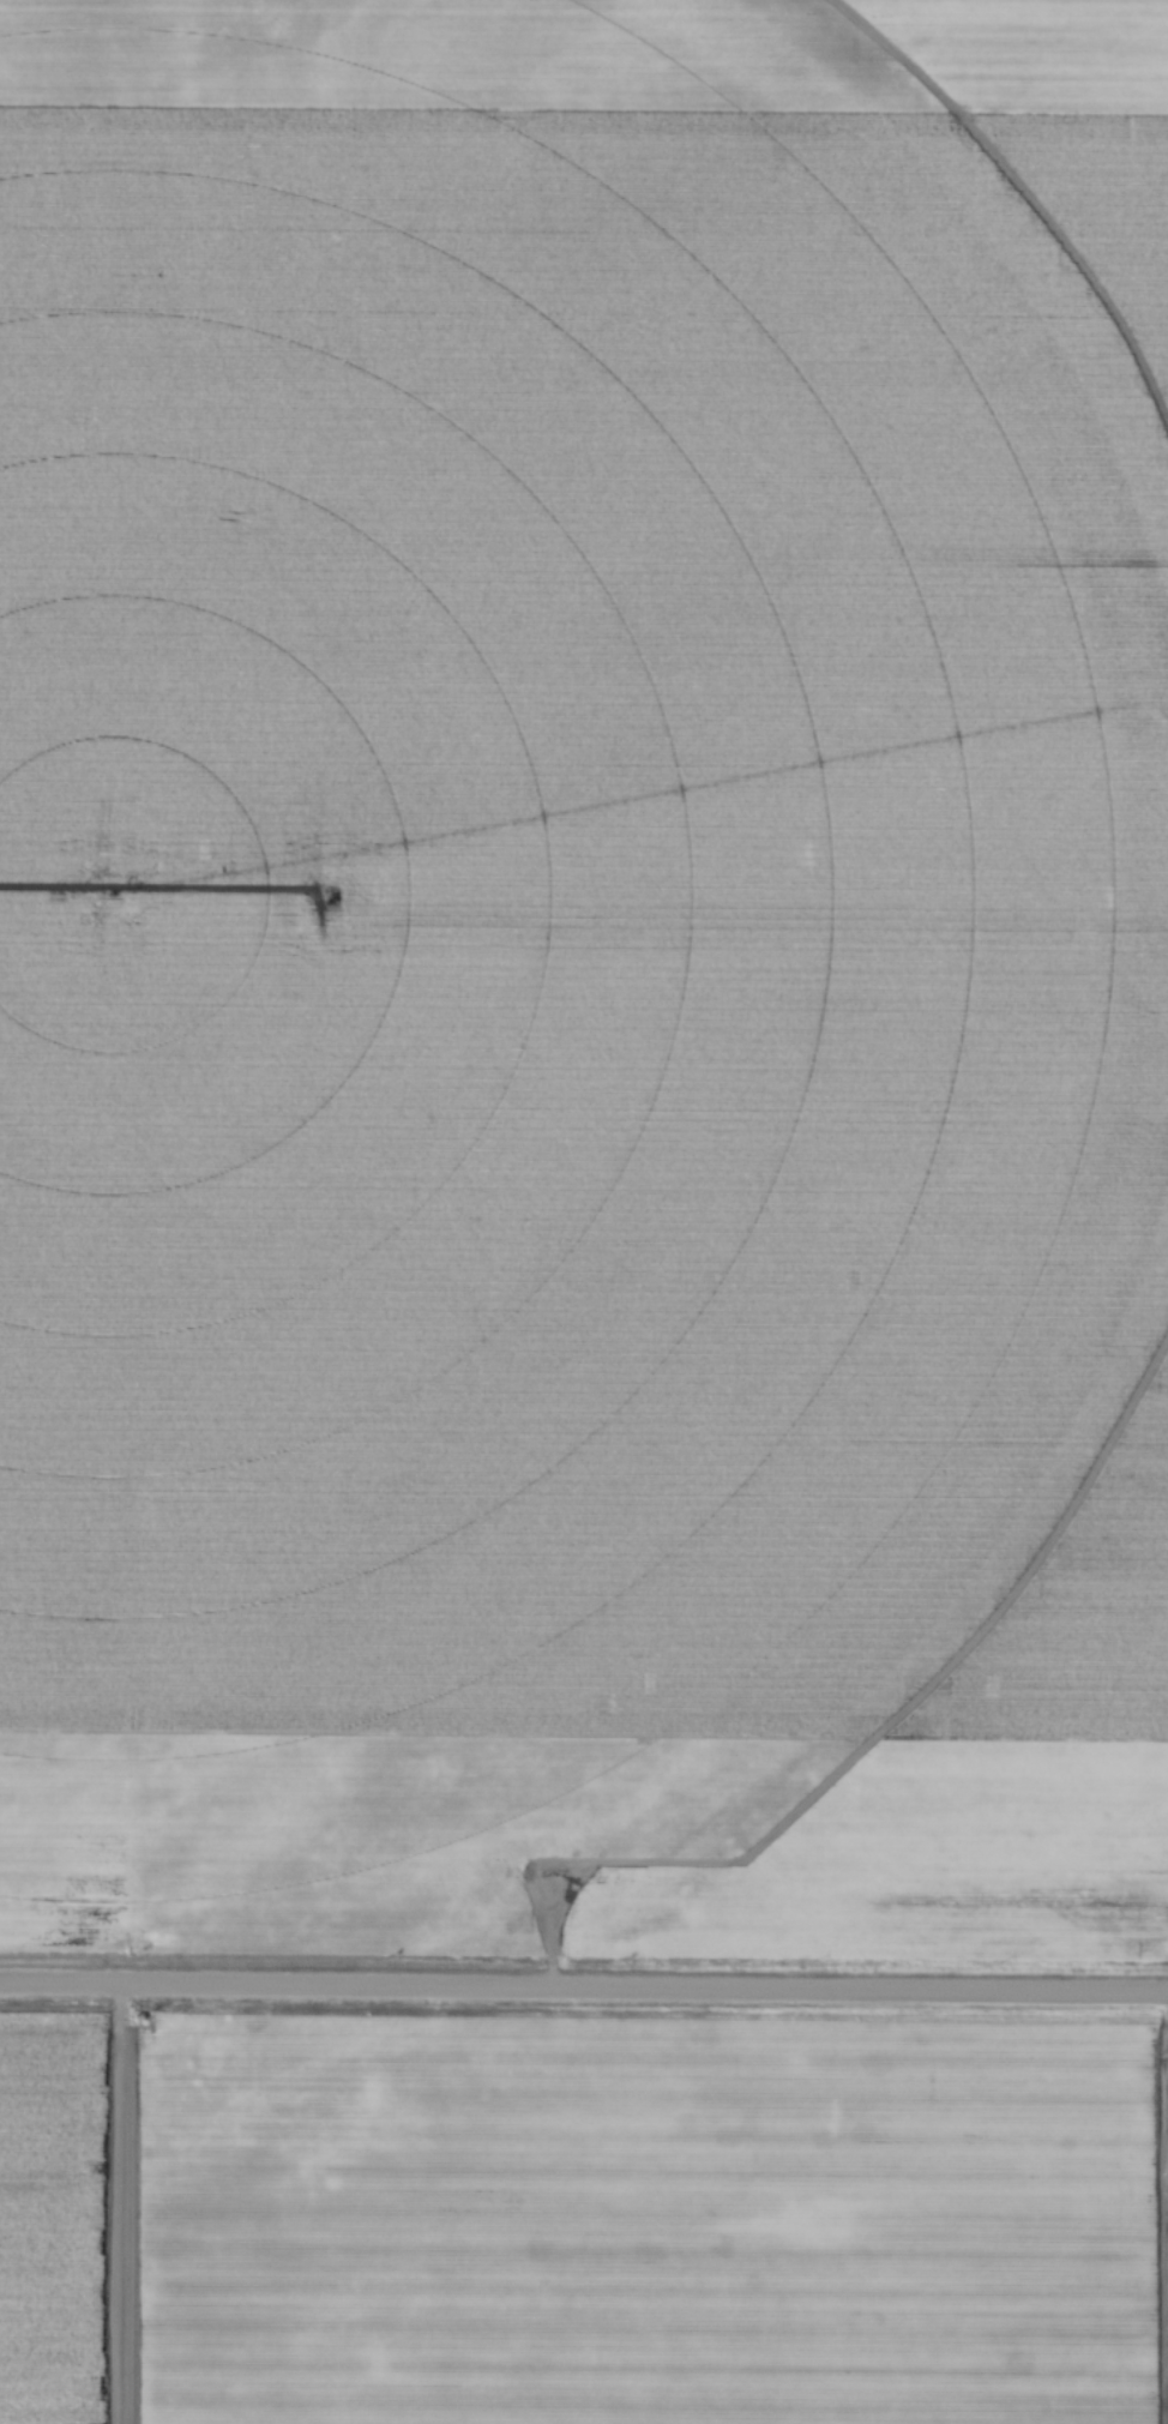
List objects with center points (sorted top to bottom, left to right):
road: (584, 1995)

